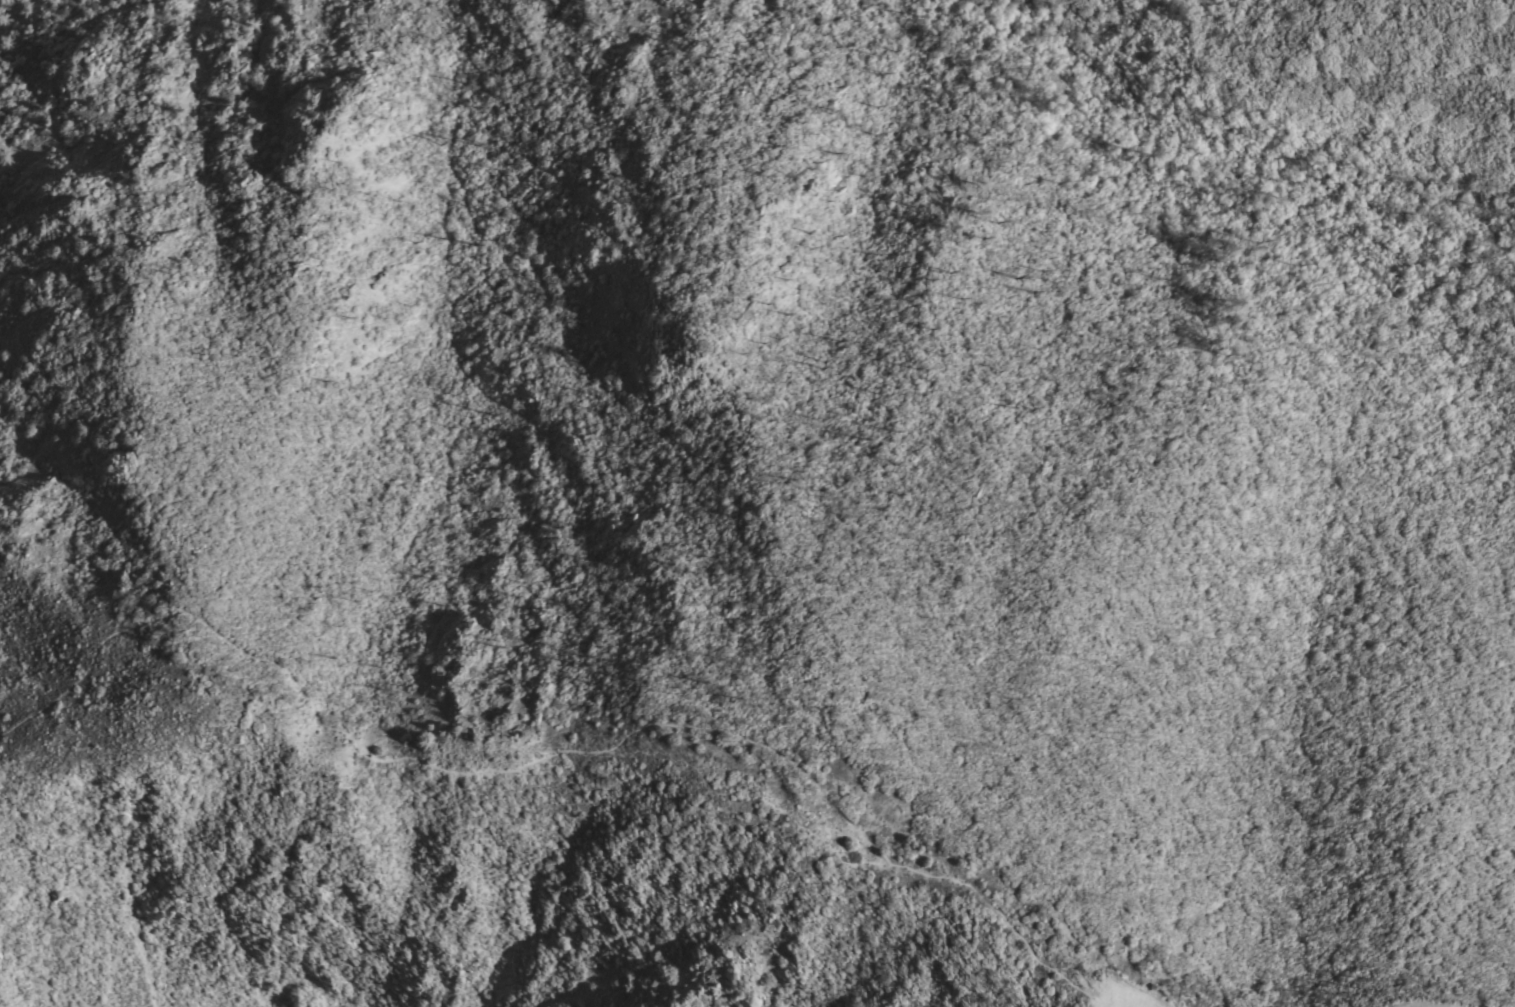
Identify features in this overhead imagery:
road: (566, 752)
road: (1426, 998)

